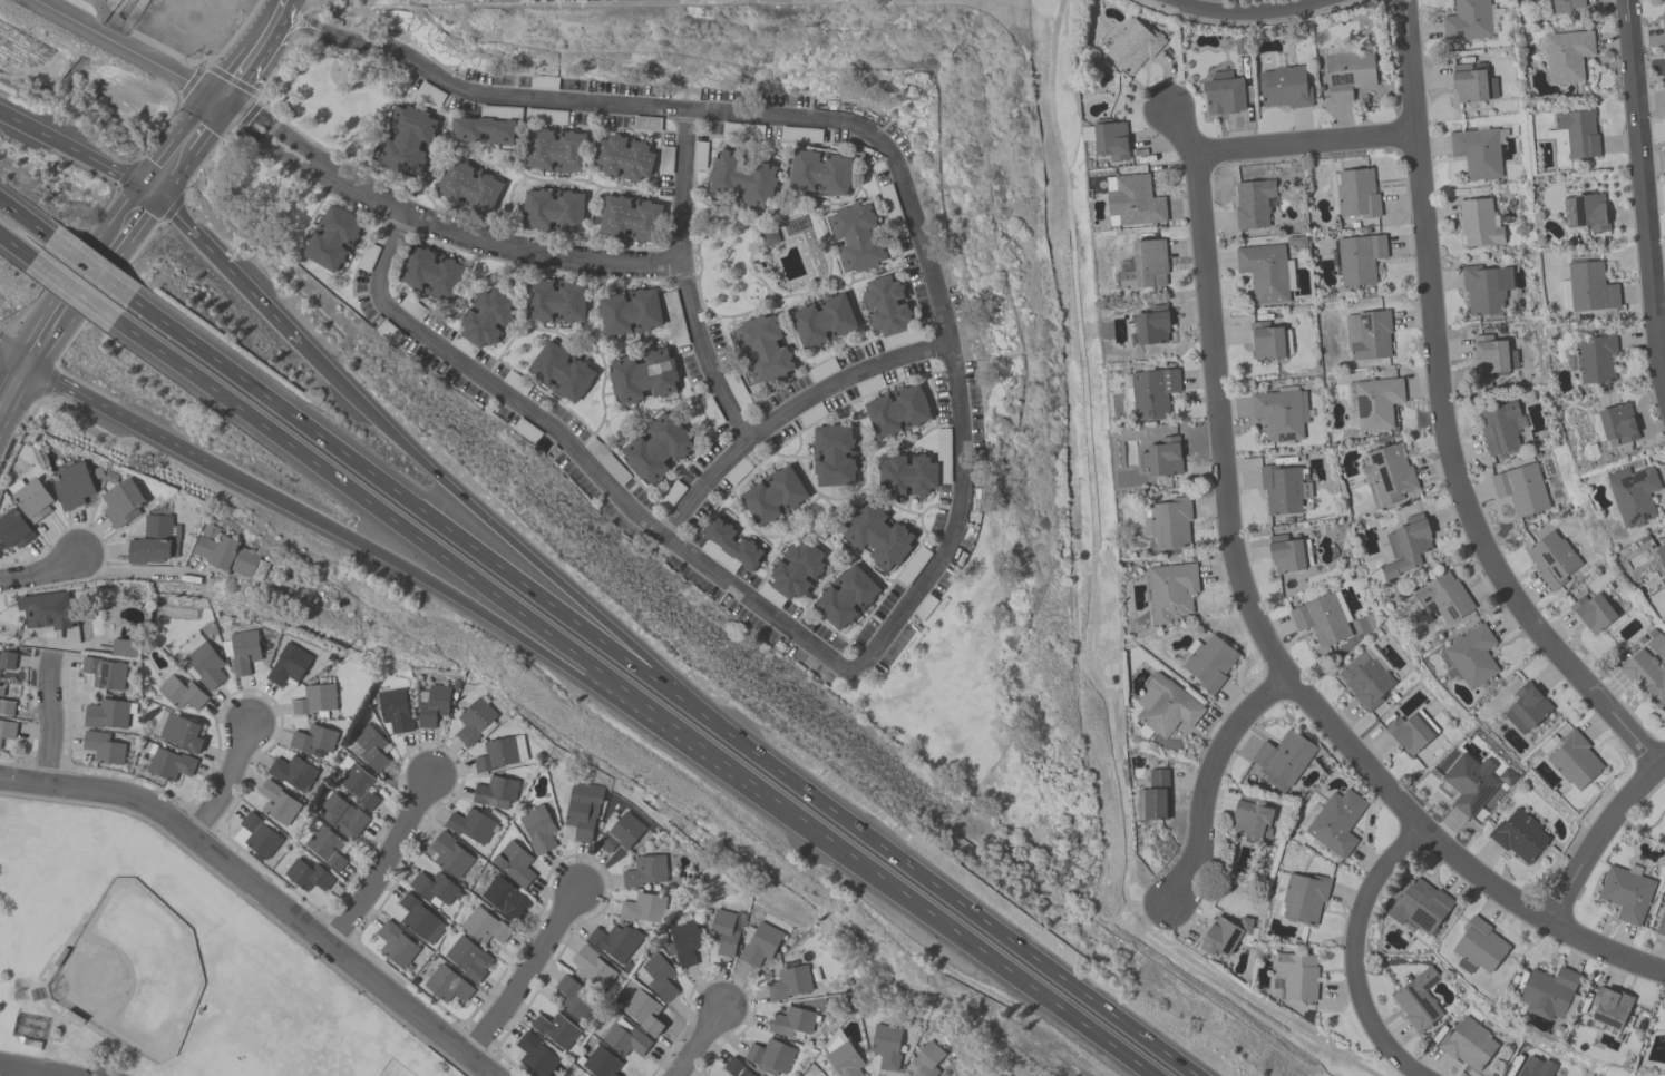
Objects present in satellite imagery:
road: (279, 4)
building: (1564, 6)
building: (1664, 7)
road: (1155, 8)
road: (1247, 12)
building: (1468, 20)
building: (1663, 20)
road: (265, 29)
building: (1132, 46)
road: (124, 48)
building: (1566, 55)
road: (234, 74)
building: (1347, 74)
building: (1472, 82)
building: (1284, 87)
building: (1224, 94)
traffic signals: (215, 99)
road: (232, 110)
road: (199, 123)
road: (856, 126)
road: (1180, 128)
building: (484, 130)
building: (1574, 134)
building: (801, 136)
road: (285, 139)
building: (407, 139)
building: (1109, 140)
road: (1304, 143)
road: (277, 148)
building: (555, 150)
building: (1477, 150)
road: (76, 155)
building: (623, 158)
road: (168, 170)
building: (819, 173)
building: (741, 178)
building: (468, 188)
building: (1354, 193)
road: (1642, 194)
traffic signals: (152, 196)
building: (1132, 202)
building: (1253, 203)
building: (553, 211)
building: (1589, 212)
building: (893, 214)
building: (631, 218)
road: (25, 219)
building: (1478, 223)
road: (128, 226)
building: (768, 237)
building: (332, 238)
building: (856, 238)
road: (487, 243)
road: (16, 247)
building: (1359, 257)
building: (1145, 265)
road: (90, 268)
road: (225, 271)
building: (1264, 272)
building: (432, 273)
road: (86, 281)
road: (679, 281)
building: (1486, 288)
road: (75, 290)
building: (1590, 292)
building: (555, 302)
building: (886, 306)
building: (631, 313)
building: (487, 319)
building: (822, 320)
building: (1151, 326)
road: (47, 334)
building: (1367, 334)
building: (1266, 340)
building: (762, 349)
road: (12, 351)
building: (1492, 354)
building: (1595, 356)
building: (561, 372)
building: (640, 376)
road: (12, 389)
building: (1150, 392)
building: (1376, 402)
building: (897, 411)
road: (1448, 411)
road: (115, 413)
road: (788, 413)
building: (1281, 413)
building: (1614, 423)
building: (1499, 428)
building: (656, 449)
road: (580, 456)
building: (834, 457)
building: (1161, 457)
building: (1390, 472)
building: (908, 476)
building: (71, 485)
building: (1520, 488)
building: (1283, 489)
building: (1633, 495)
building: (772, 496)
building: (30, 498)
building: (120, 502)
building: (1168, 522)
road: (442, 526)
building: (13, 529)
building: (877, 536)
building: (155, 540)
building: (733, 544)
building: (1406, 548)
road: (526, 549)
building: (1285, 554)
building: (227, 557)
building: (1551, 559)
building: (1661, 563)
road: (135, 570)
building: (797, 570)
road: (43, 573)
building: (1170, 590)
building: (846, 597)
building: (1445, 597)
road: (1088, 606)
building: (47, 609)
building: (1593, 612)
road: (477, 613)
building: (1322, 618)
building: (118, 626)
building: (1656, 644)
building: (124, 648)
building: (240, 651)
building: (1472, 655)
road: (1273, 657)
building: (7, 661)
building: (1208, 662)
building: (204, 665)
building: (288, 665)
building: (104, 673)
building: (1646, 676)
building: (1366, 678)
building: (1, 689)
building: (181, 693)
building: (315, 700)
road: (632, 701)
building: (431, 705)
building: (6, 707)
building: (1165, 707)
building: (1526, 708)
building: (395, 711)
building: (106, 714)
road: (48, 721)
building: (475, 721)
building: (7, 728)
building: (1411, 731)
building: (181, 732)
building: (313, 740)
building: (371, 746)
building: (103, 747)
building: (499, 753)
building: (1283, 759)
building: (1574, 760)
building: (166, 761)
building: (292, 773)
building: (1506, 776)
road: (1207, 779)
road: (224, 781)
building: (357, 782)
building: (1469, 783)
building: (495, 792)
building: (1153, 796)
building: (276, 802)
building: (582, 809)
building: (341, 814)
park: (1647, 815)
building: (1250, 816)
building: (1335, 822)
building: (471, 824)
building: (537, 829)
building: (617, 831)
road: (1639, 831)
road: (1598, 833)
building: (1519, 834)
building: (257, 835)
building: (325, 847)
building: (449, 854)
road: (381, 863)
building: (514, 863)
building: (644, 870)
building: (306, 874)
building: (434, 888)
building: (1625, 892)
road: (261, 894)
building: (1304, 897)
building: (505, 898)
building: (1420, 906)
building: (642, 908)
road: (972, 913)
building: (420, 919)
building: (1661, 923)
building: (484, 926)
building: (723, 931)
building: (1223, 935)
building: (615, 941)
building: (683, 941)
building: (396, 943)
building: (758, 943)
building: (1478, 947)
road: (1354, 957)
building: (467, 958)
building: (591, 968)
road: (524, 972)
building: (1297, 976)
building: (658, 977)
building: (789, 982)
building: (447, 985)
building: (1548, 991)
building: (572, 998)
building: (1418, 998)
building: (1609, 1007)
building: (643, 1011)
building: (791, 1021)
building: (555, 1029)
building: (624, 1038)
road: (695, 1043)
building: (1467, 1044)
building: (886, 1046)
building: (535, 1055)
building: (770, 1056)
building: (841, 1056)
building: (926, 1059)
building: (601, 1062)
building: (736, 1067)
building: (1536, 1067)
road: (32, 1069)
road: (4, 1070)
road: (41, 1074)
building: (582, 1074)

